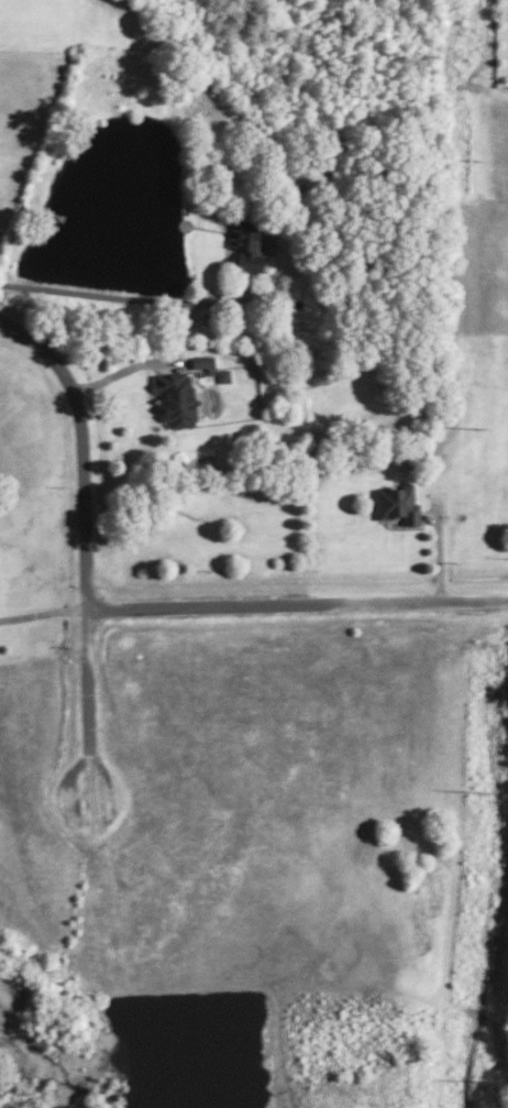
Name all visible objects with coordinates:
power tower: (474, 155)
building: (246, 248)
road: (122, 297)
road: (123, 370)
building: (210, 370)
building: (176, 397)
power tower: (479, 426)
building: (397, 504)
road: (298, 603)
road: (89, 605)
road: (44, 613)
power tower: (482, 790)
power tower: (488, 1082)

